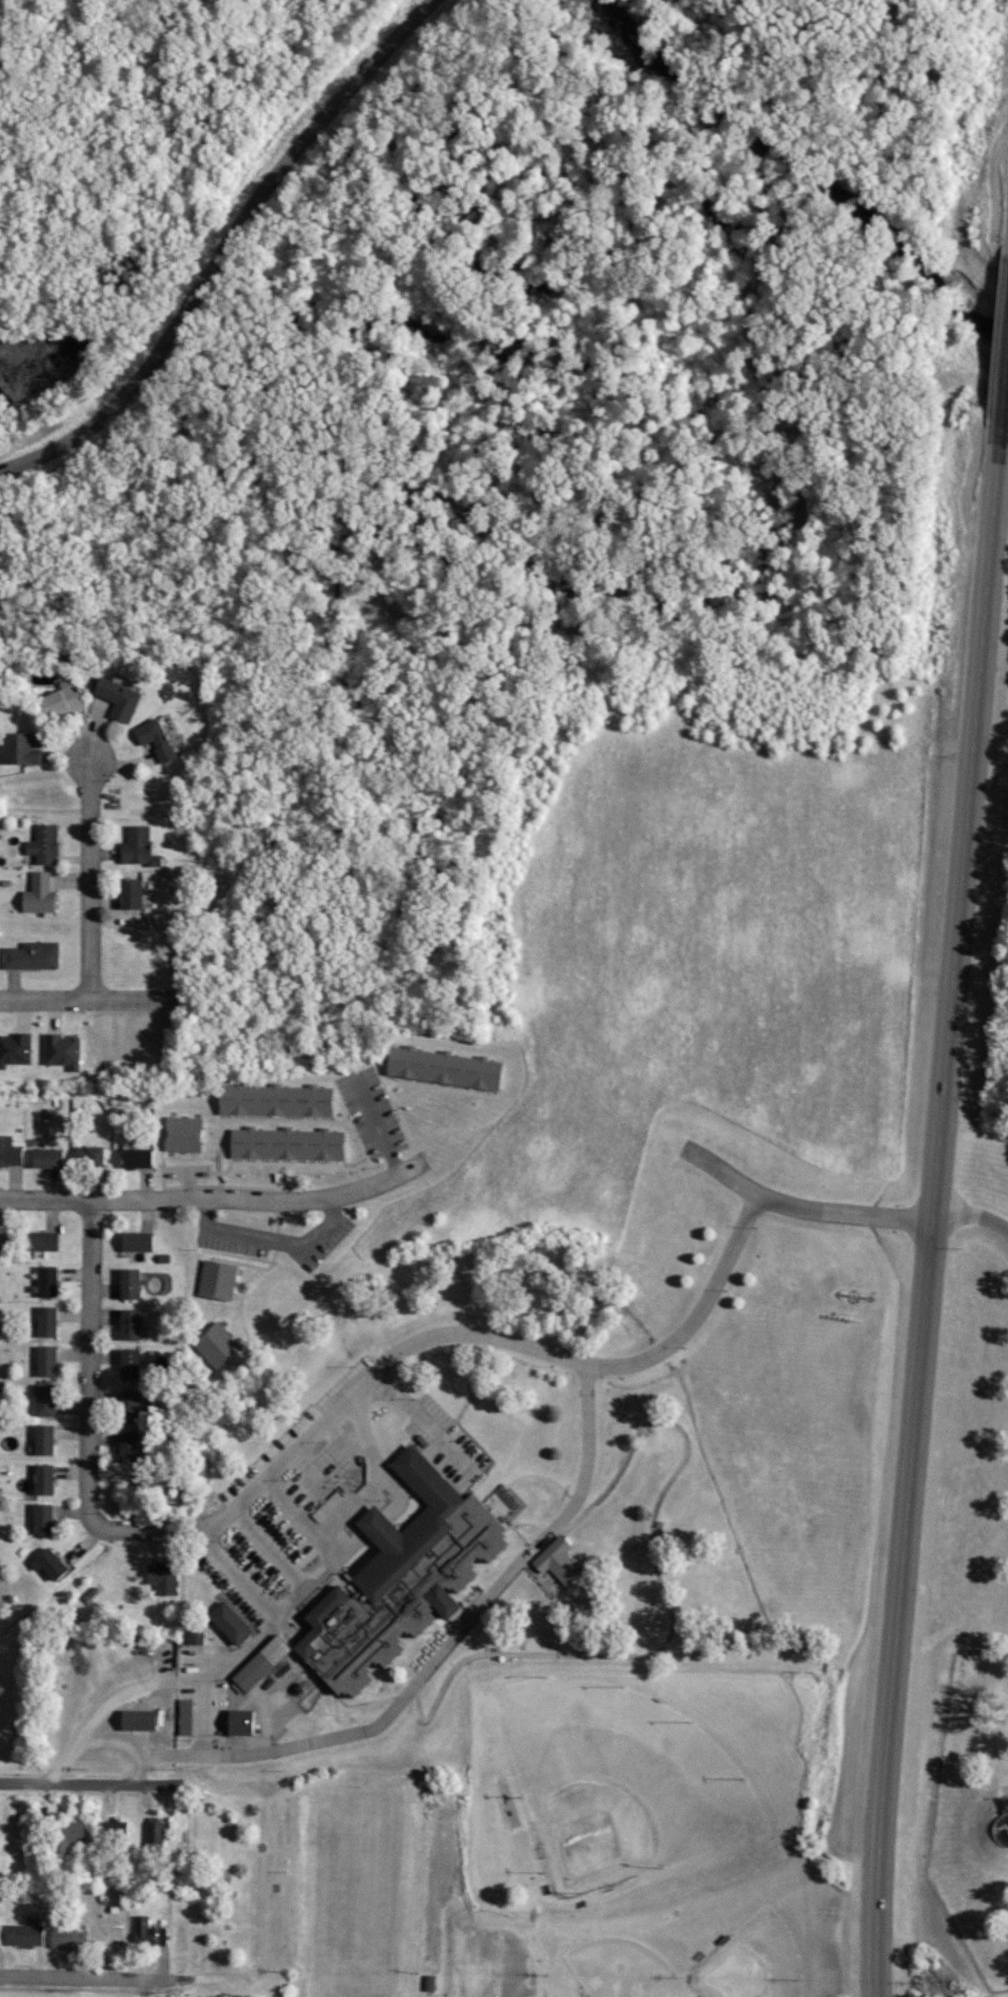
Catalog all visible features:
road: (207, 244)
building: (116, 698)
building: (57, 702)
building: (153, 738)
building: (17, 748)
building: (41, 844)
building: (135, 846)
road: (86, 874)
building: (126, 893)
building: (37, 894)
building: (29, 955)
road: (90, 999)
building: (13, 1049)
building: (59, 1050)
building: (439, 1067)
building: (271, 1099)
building: (180, 1134)
building: (282, 1144)
road: (938, 1144)
building: (9, 1153)
building: (87, 1155)
building: (45, 1158)
building: (132, 1158)
road: (204, 1191)
road: (212, 1202)
road: (803, 1211)
road: (971, 1218)
building: (40, 1241)
building: (135, 1241)
building: (215, 1280)
building: (43, 1281)
building: (124, 1284)
building: (43, 1321)
building: (125, 1325)
road: (485, 1334)
building: (214, 1344)
road: (89, 1355)
building: (43, 1361)
building: (126, 1363)
building: (41, 1400)
building: (125, 1406)
road: (422, 1417)
building: (40, 1440)
building: (124, 1448)
road: (537, 1475)
building: (39, 1480)
building: (38, 1519)
road: (372, 1526)
road: (115, 1535)
building: (554, 1561)
building: (45, 1564)
building: (159, 1578)
building: (396, 1579)
road: (568, 1600)
wastewater plant: (969, 1620)
building: (225, 1623)
building: (192, 1636)
road: (258, 1636)
road: (620, 1653)
road: (434, 1658)
building: (257, 1663)
building: (183, 1717)
building: (136, 1720)
building: (237, 1722)
road: (82, 1783)
park: (619, 1783)
building: (114, 1832)
building: (152, 1834)
building: (62, 1835)
park: (576, 1843)
building: (0, 1930)
building: (149, 1931)
building: (25, 1935)
building: (66, 1938)
road: (538, 1944)
park: (752, 1959)
park: (617, 1962)
parking lot: (485, 1966)
road: (470, 1973)
road: (94, 1979)
road: (663, 1993)

